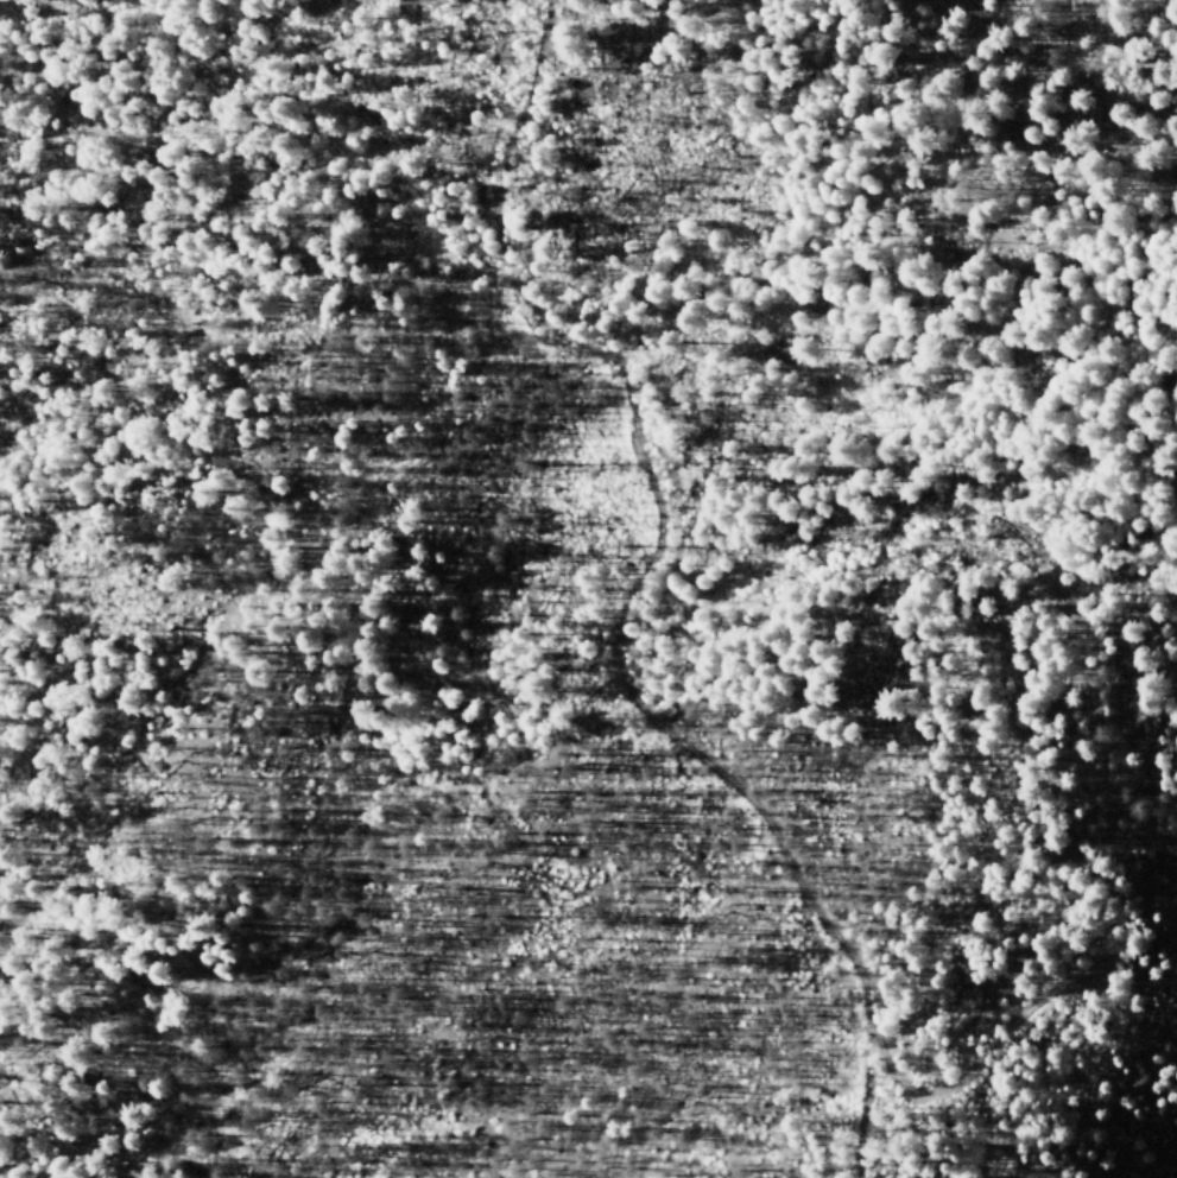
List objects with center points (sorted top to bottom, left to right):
road: (562, 334)
road: (793, 899)

